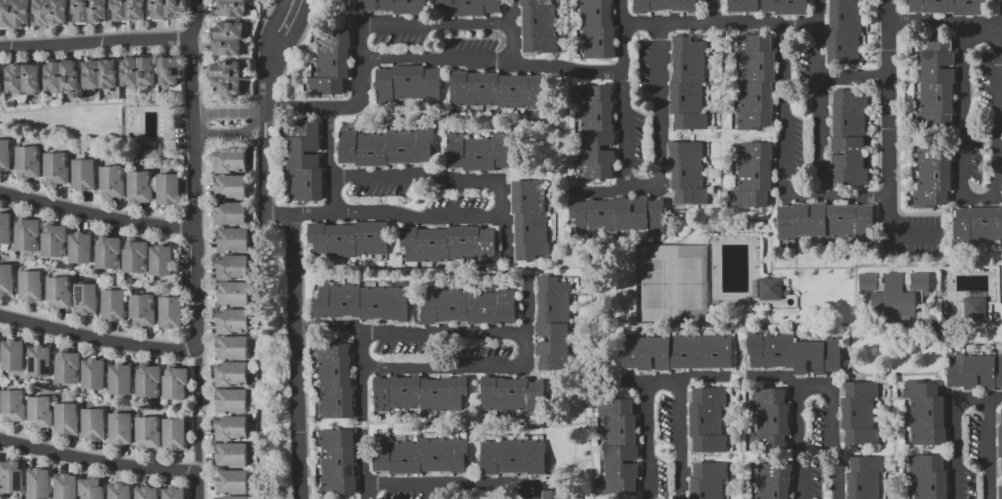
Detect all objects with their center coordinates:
building: (664, 5)
building: (741, 5)
building: (361, 6)
building: (403, 6)
building: (784, 7)
building: (949, 7)
building: (166, 8)
building: (231, 8)
building: (469, 8)
building: (126, 9)
building: (90, 10)
building: (49, 11)
road: (510, 12)
road: (996, 12)
building: (13, 13)
road: (712, 13)
road: (819, 13)
road: (954, 24)
road: (511, 25)
road: (702, 25)
building: (538, 26)
building: (596, 27)
building: (843, 32)
road: (622, 35)
building: (227, 38)
road: (95, 42)
road: (999, 52)
road: (271, 58)
building: (331, 62)
road: (565, 67)
building: (137, 71)
building: (168, 71)
building: (98, 74)
building: (60, 76)
road: (853, 77)
building: (226, 78)
building: (22, 79)
building: (756, 79)
building: (935, 80)
building: (0, 83)
building: (407, 83)
building: (687, 84)
building: (496, 89)
road: (819, 92)
road: (95, 102)
road: (335, 106)
road: (228, 113)
road: (782, 128)
road: (230, 131)
building: (596, 132)
building: (847, 138)
road: (887, 141)
building: (386, 146)
building: (150, 150)
building: (479, 152)
building: (4, 155)
road: (329, 158)
building: (304, 159)
building: (228, 160)
building: (27, 162)
road: (264, 166)
building: (55, 168)
building: (753, 173)
building: (83, 174)
building: (687, 174)
building: (932, 175)
building: (111, 181)
road: (658, 183)
building: (230, 186)
building: (139, 187)
building: (167, 189)
road: (597, 191)
road: (854, 196)
road: (964, 198)
road: (1000, 198)
road: (501, 199)
road: (195, 204)
road: (311, 212)
building: (229, 213)
road: (277, 213)
road: (97, 215)
building: (616, 215)
building: (529, 220)
building: (828, 222)
building: (978, 224)
building: (4, 227)
building: (26, 235)
building: (347, 238)
road: (506, 238)
building: (232, 239)
building: (53, 241)
building: (447, 244)
building: (79, 248)
building: (107, 253)
building: (133, 256)
building: (159, 261)
building: (230, 266)
building: (6, 280)
park: (670, 282)
building: (30, 286)
building: (771, 290)
building: (58, 293)
building: (232, 293)
building: (894, 293)
building: (85, 299)
building: (360, 302)
building: (112, 305)
building: (468, 306)
road: (527, 306)
building: (973, 309)
building: (141, 310)
building: (170, 312)
building: (230, 320)
building: (553, 324)
road: (326, 326)
road: (98, 337)
building: (231, 347)
road: (527, 348)
building: (677, 352)
building: (792, 353)
building: (11, 355)
road: (294, 356)
building: (38, 361)
building: (66, 367)
building: (973, 372)
building: (229, 373)
building: (92, 374)
road: (700, 376)
road: (774, 376)
building: (119, 379)
road: (633, 380)
road: (660, 380)
building: (146, 381)
building: (335, 381)
building: (174, 383)
road: (815, 384)
building: (418, 393)
building: (511, 393)
building: (230, 400)
road: (995, 400)
building: (12, 406)
road: (361, 408)
building: (39, 412)
road: (197, 412)
building: (858, 413)
building: (925, 414)
building: (65, 418)
building: (706, 420)
building: (770, 420)
building: (92, 424)
building: (229, 427)
building: (119, 428)
building: (147, 432)
road: (952, 432)
building: (173, 434)
building: (999, 441)
building: (618, 446)
road: (987, 450)
building: (229, 454)
building: (419, 455)
road: (197, 457)
building: (511, 457)
road: (97, 460)
building: (338, 462)
building: (11, 476)
building: (928, 476)
building: (864, 477)
building: (707, 480)
building: (772, 480)
building: (231, 481)
building: (38, 483)
building: (65, 487)
road: (453, 487)
building: (90, 488)
building: (119, 491)
road: (365, 492)
building: (1000, 492)
building: (146, 493)
building: (173, 493)
building: (559, 494)
building: (232, 497)

